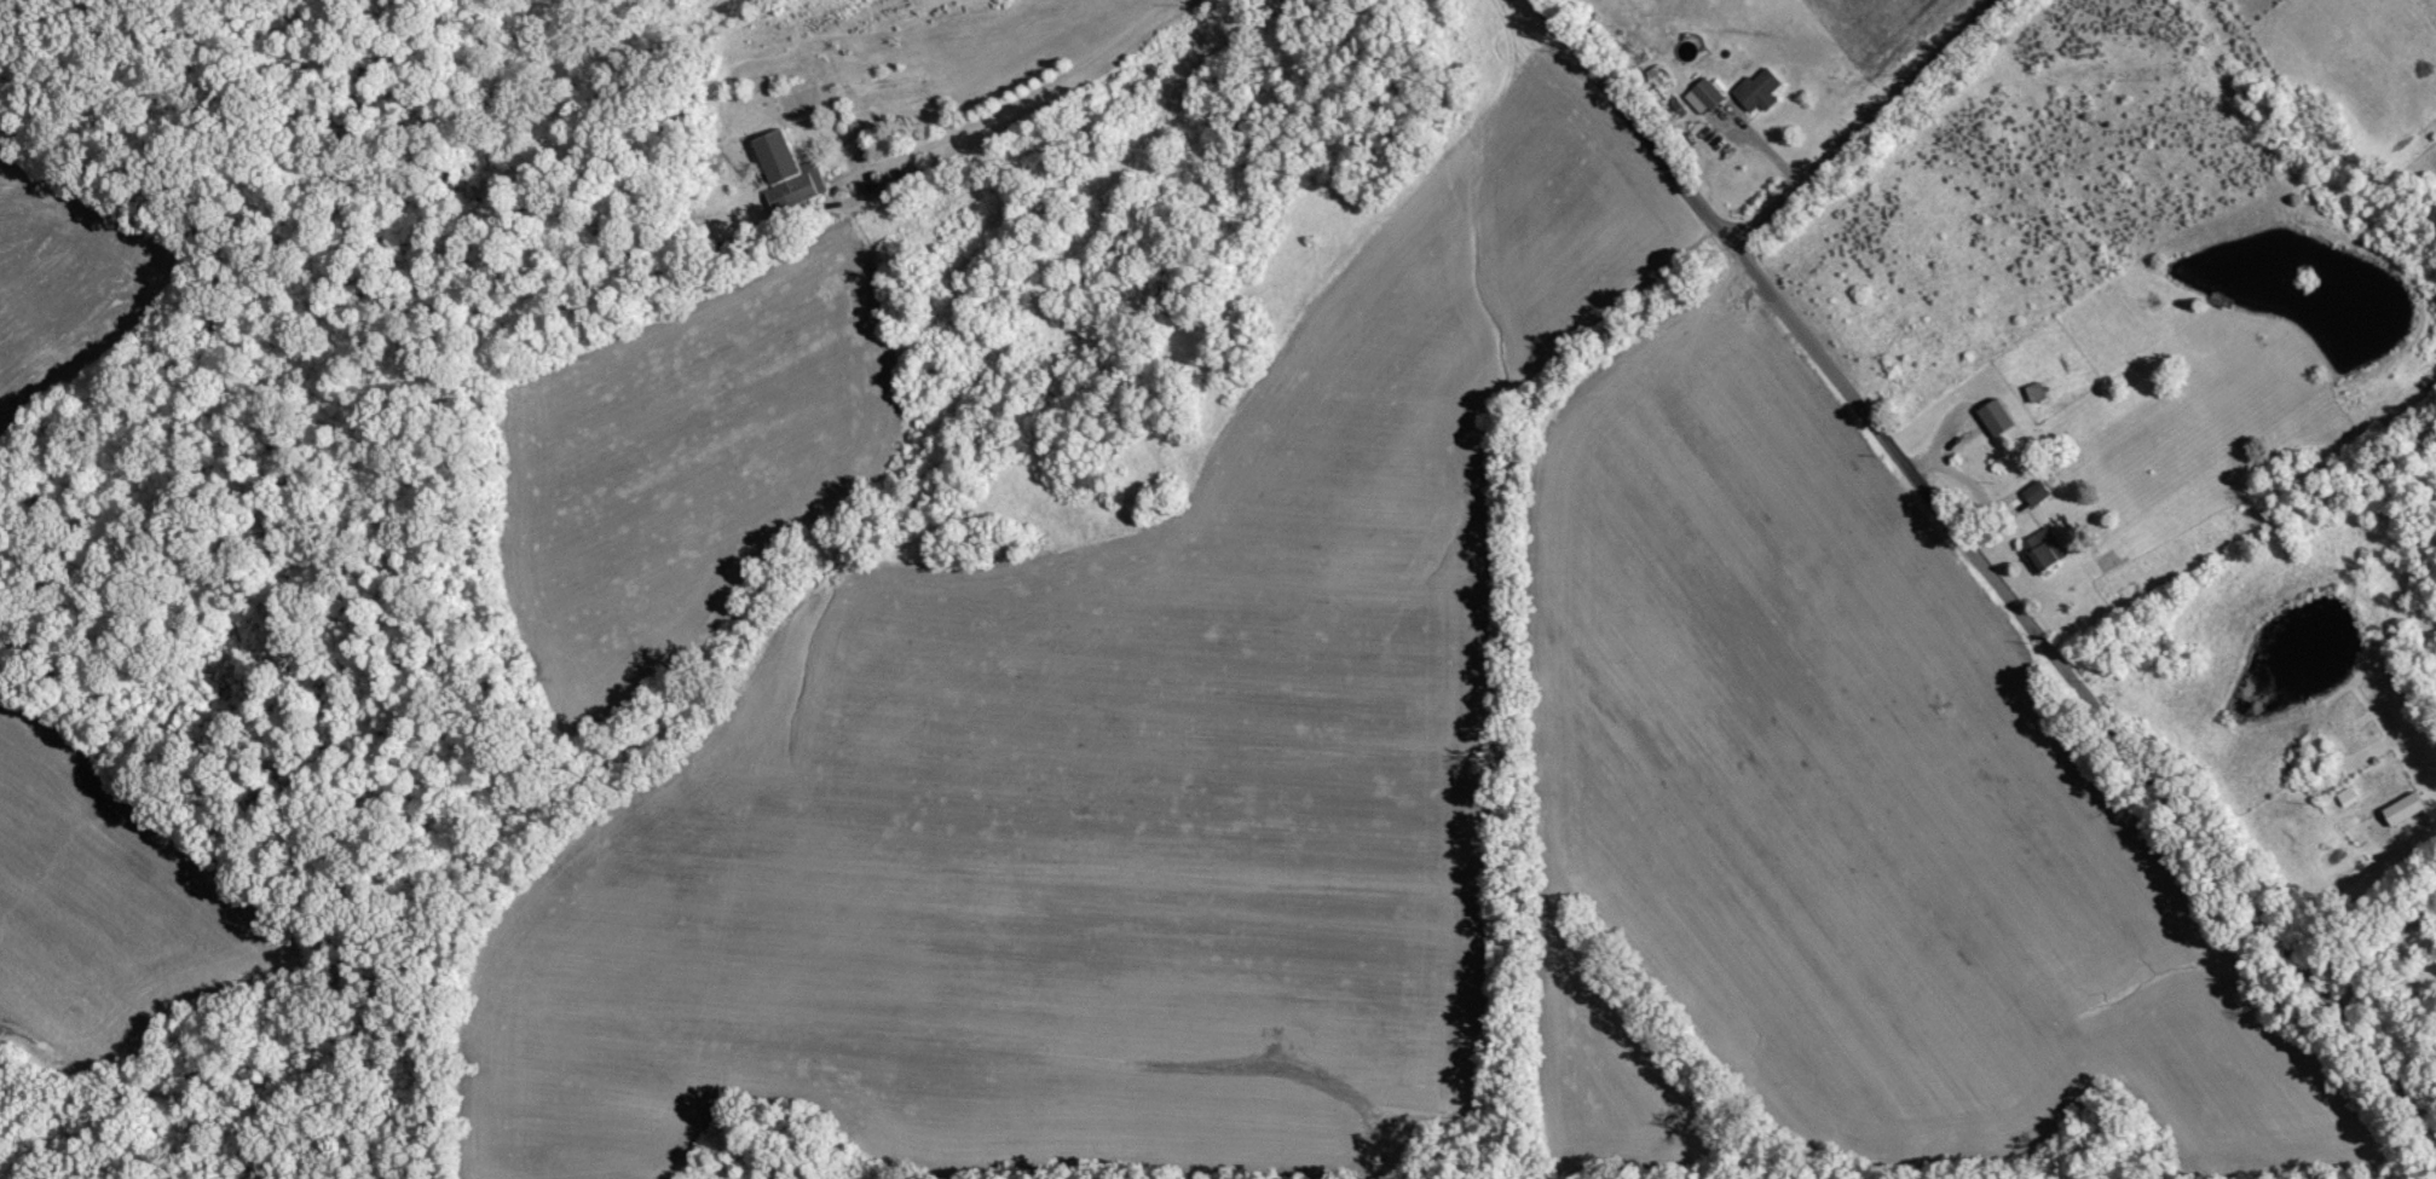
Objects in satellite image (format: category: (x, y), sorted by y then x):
building: (1759, 89)
building: (1705, 97)
road: (1018, 99)
road: (1634, 115)
road: (1854, 117)
building: (786, 173)
building: (1997, 417)
building: (2038, 492)
building: (2044, 549)
road: (2073, 684)
building: (2406, 809)
road: (2356, 879)
road: (2380, 948)

